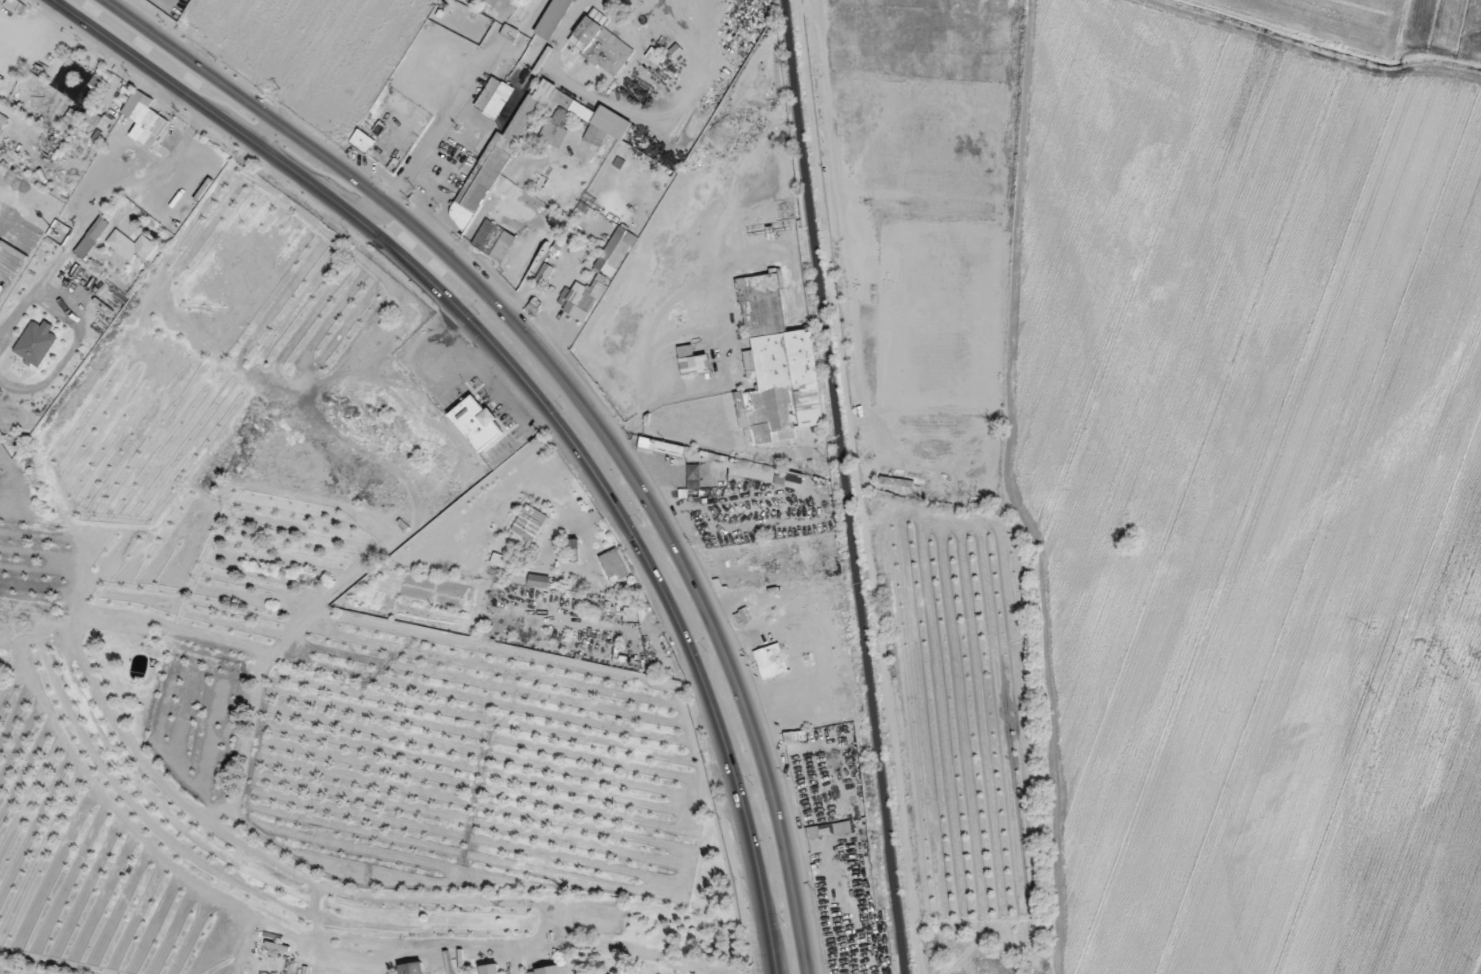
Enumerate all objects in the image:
crop: (1251, 505)

